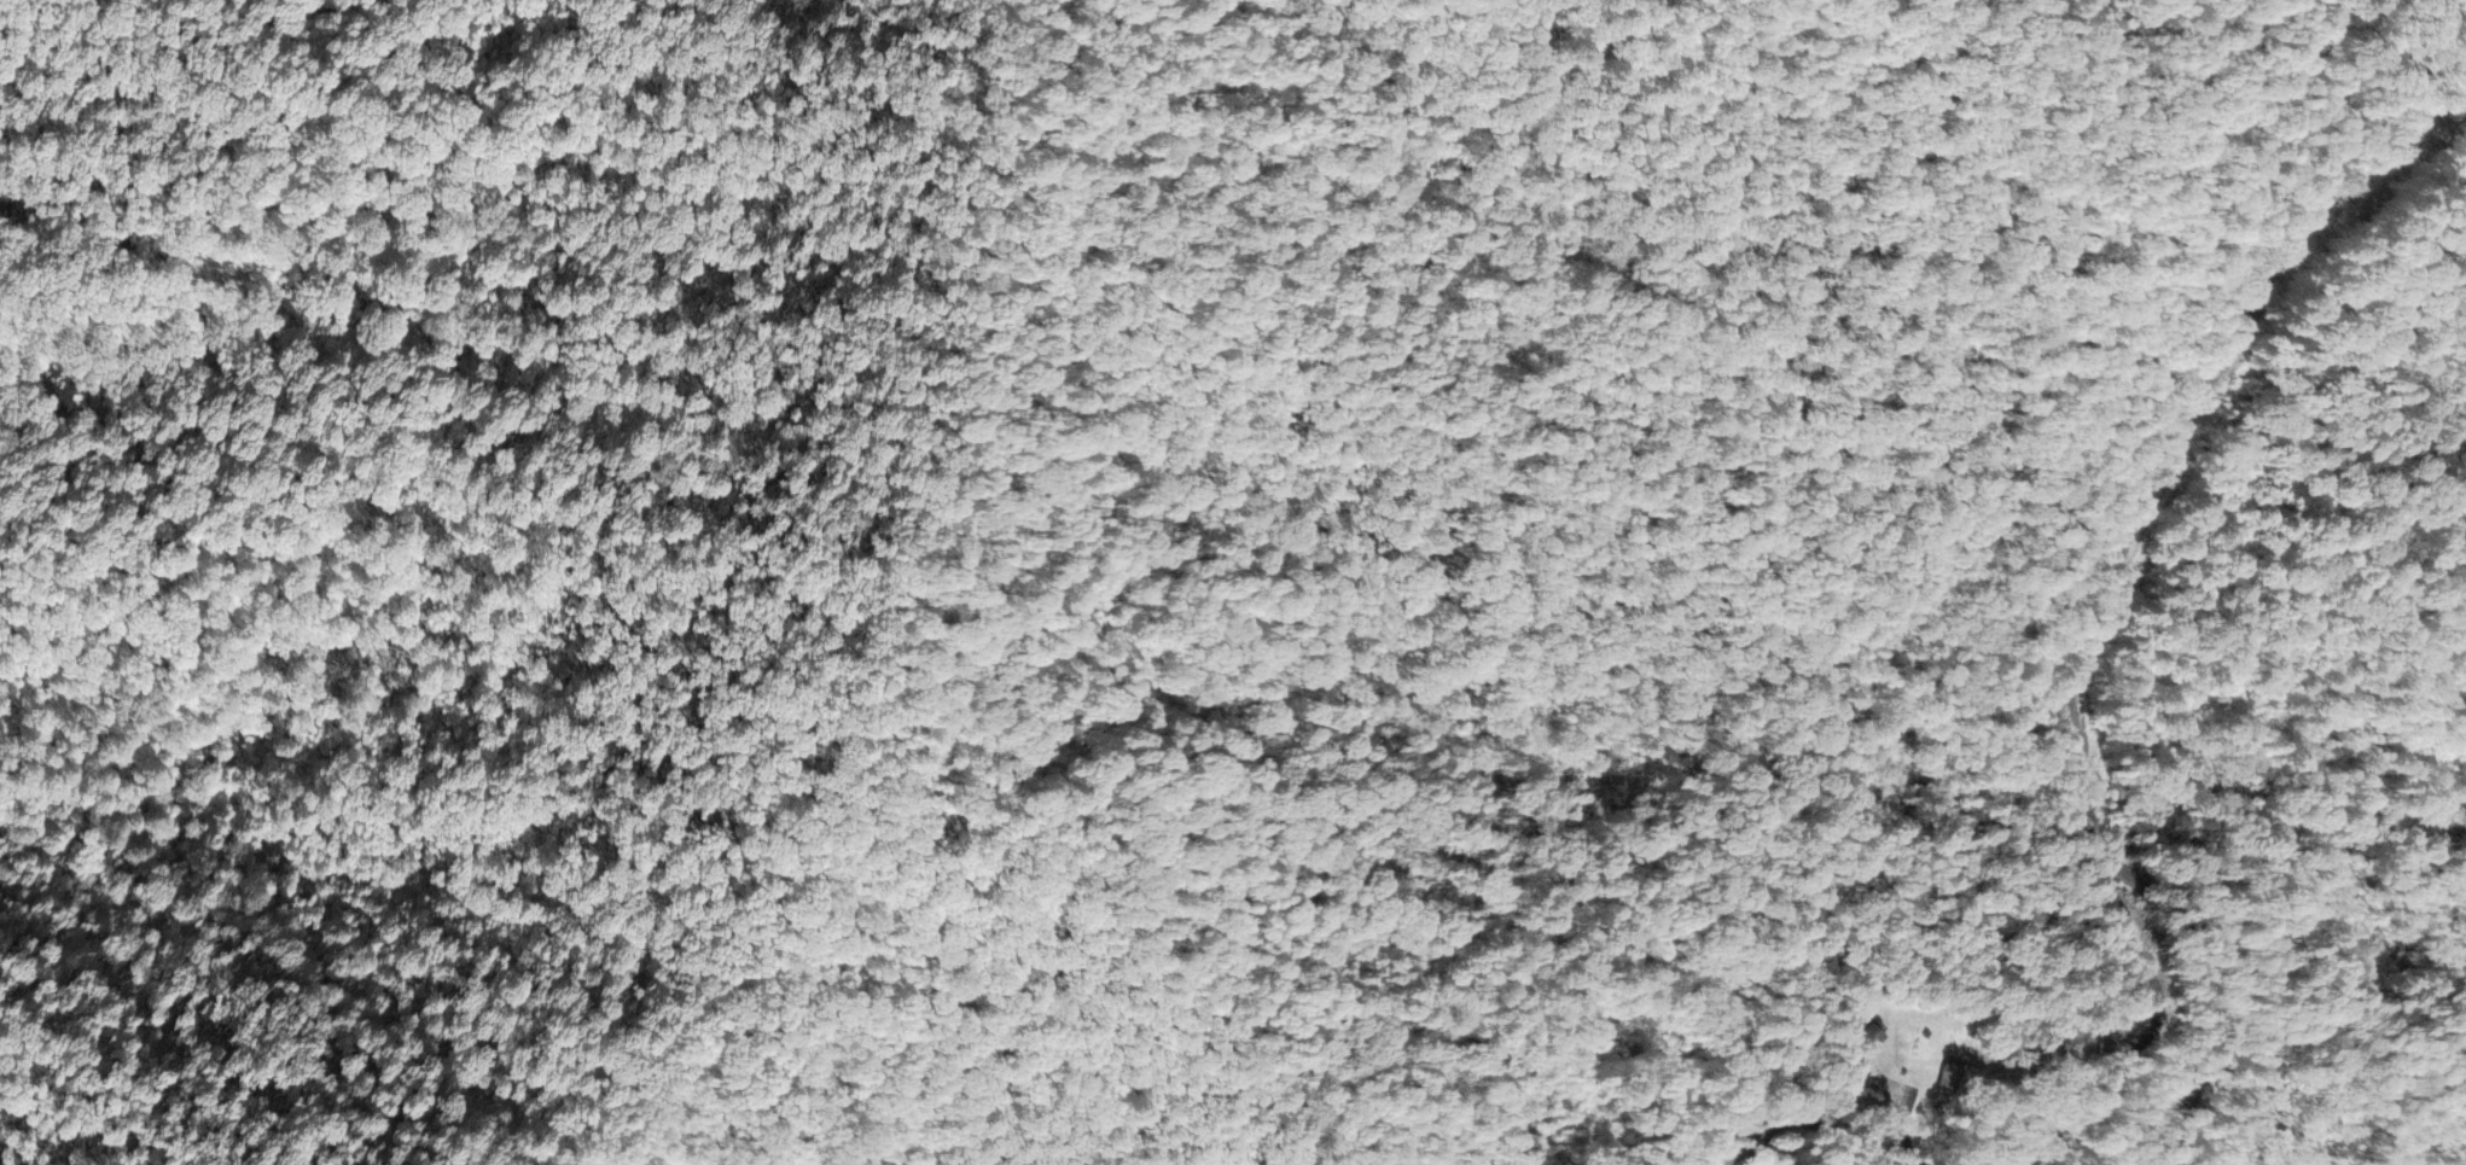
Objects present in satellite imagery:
road: (2109, 587)
building: (1952, 1072)

